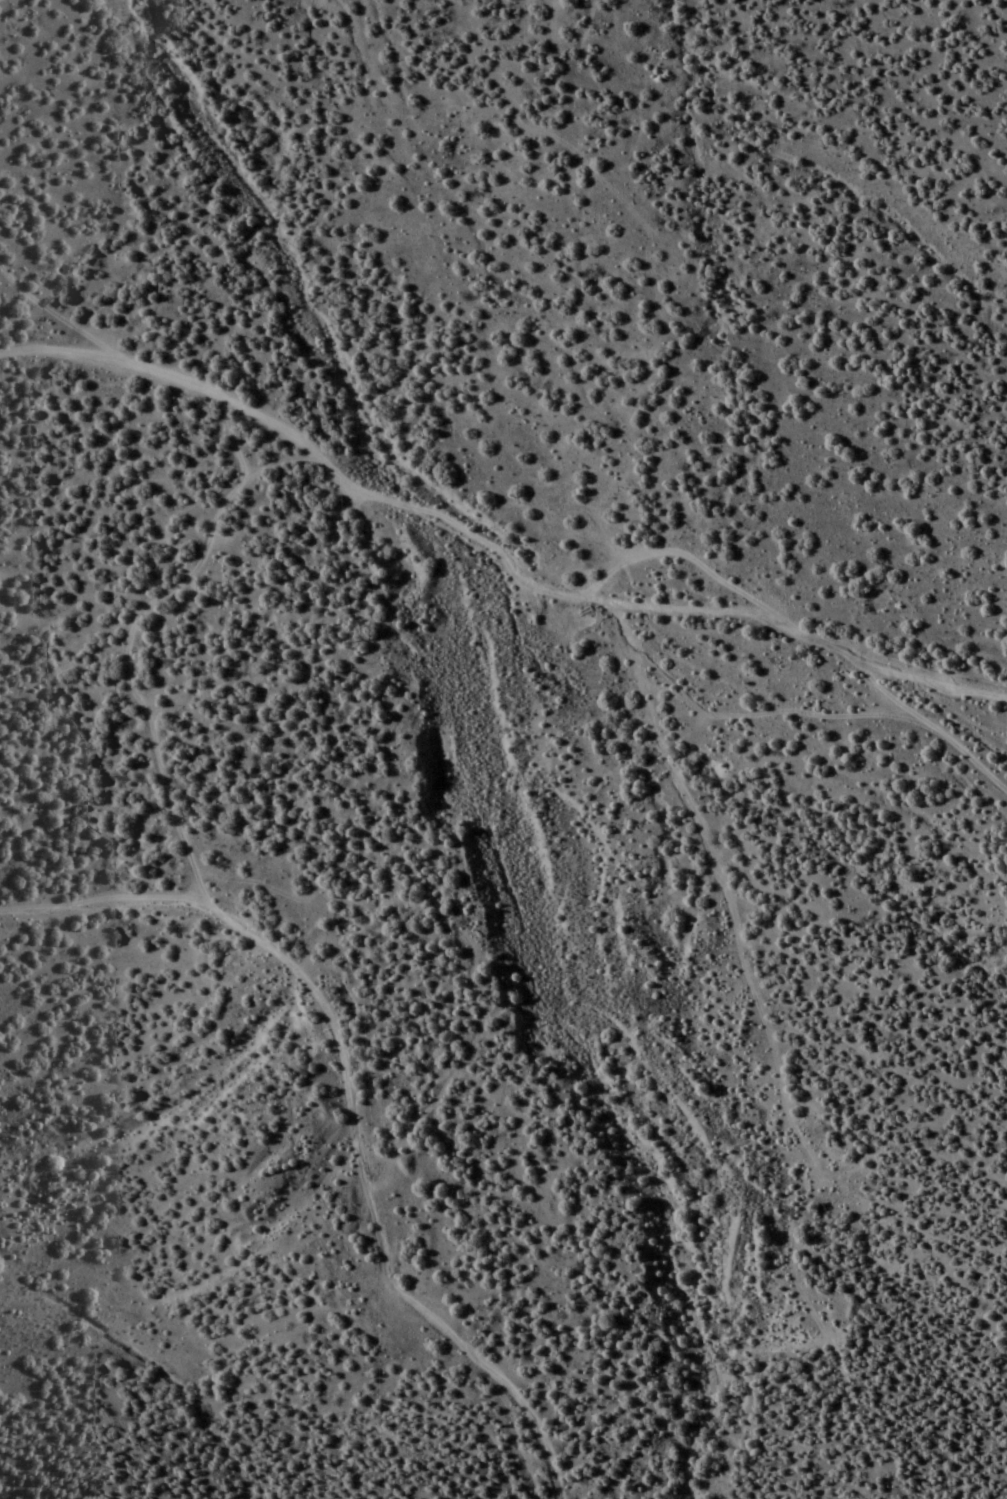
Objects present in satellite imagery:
road: (495, 572)
road: (812, 788)

